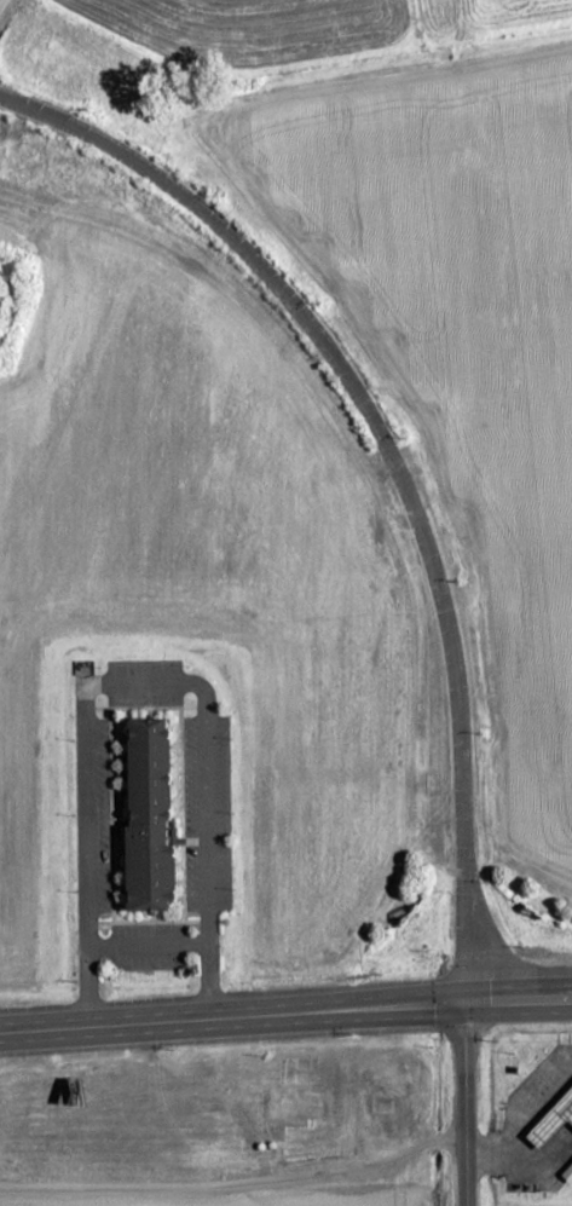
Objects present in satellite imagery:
road: (2, 11)
road: (431, 180)
road: (393, 462)
road: (140, 677)
building: (152, 815)
road: (518, 1000)
traffic signals: (463, 1003)
road: (231, 1021)
road: (461, 1104)
road: (522, 1121)
building: (555, 1126)
building: (570, 1171)
gas station: (570, 1171)
road: (235, 1182)

